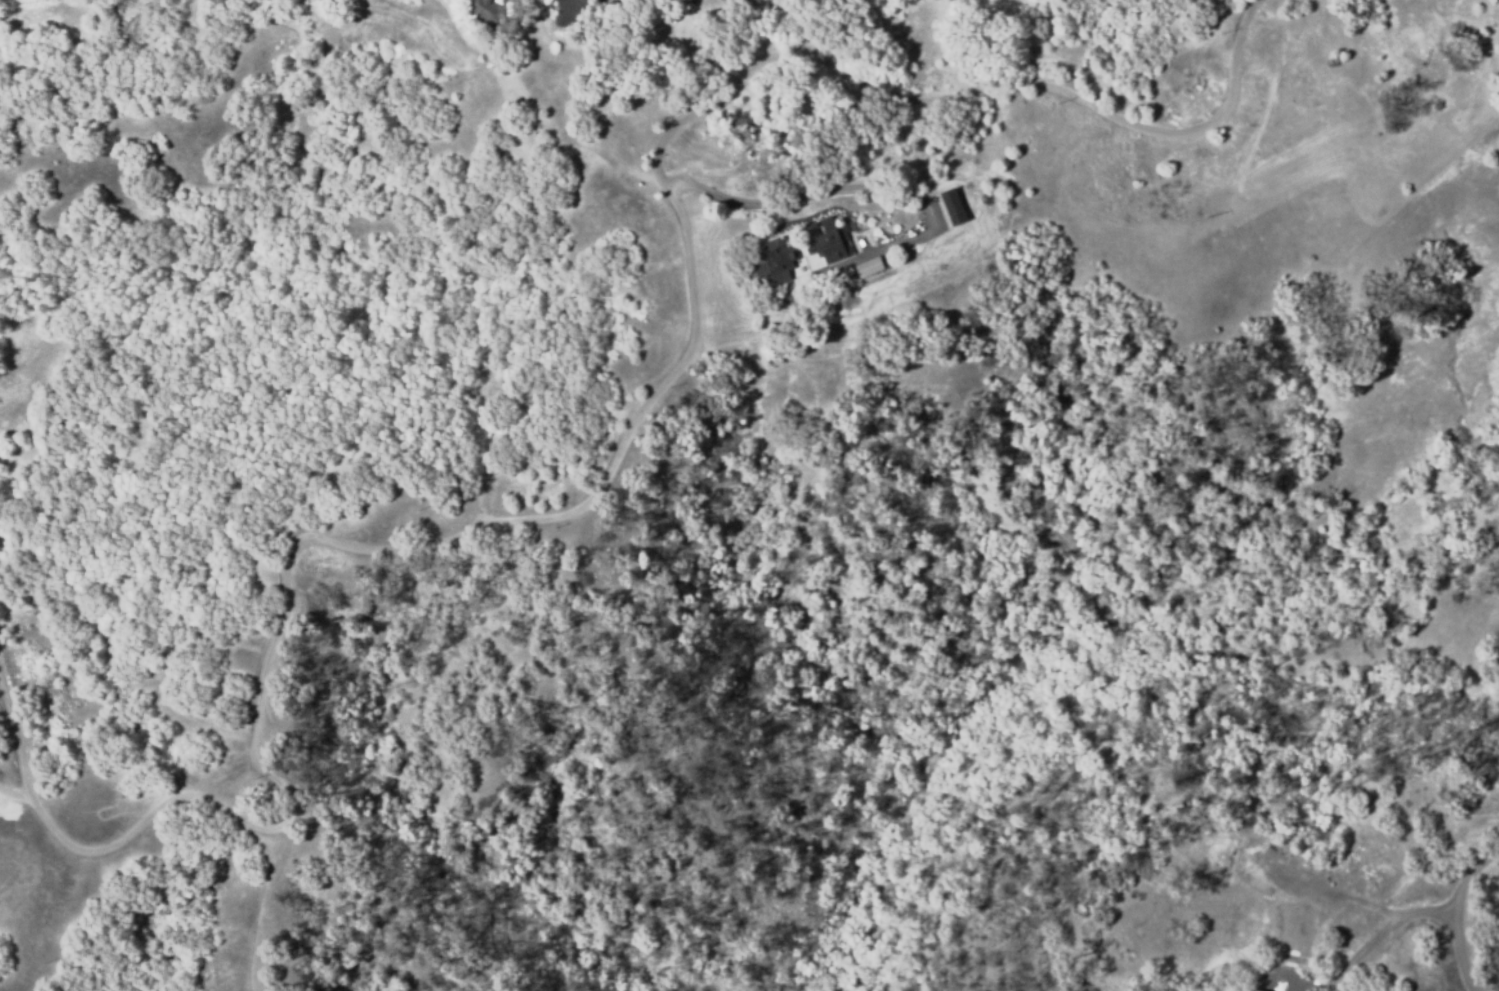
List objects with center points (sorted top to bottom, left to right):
building: (486, 8)
road: (870, 192)
building: (832, 239)
building: (778, 259)
building: (870, 266)
road: (617, 462)
road: (1419, 914)

